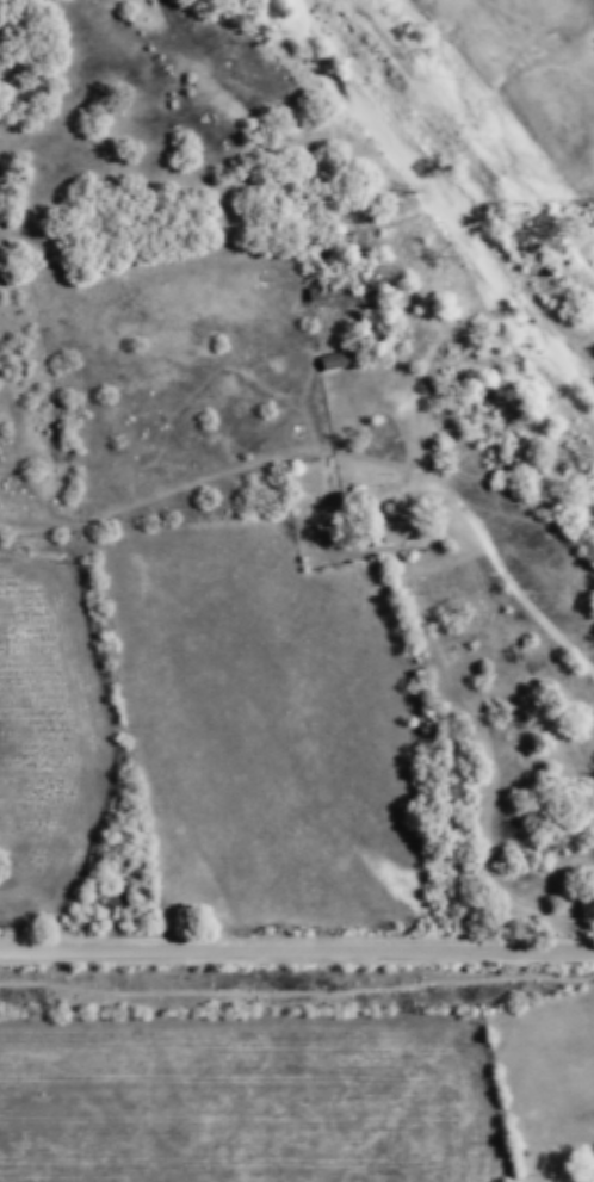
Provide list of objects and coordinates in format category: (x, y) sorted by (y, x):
river: (432, 196)
road: (532, 602)
road: (297, 948)

